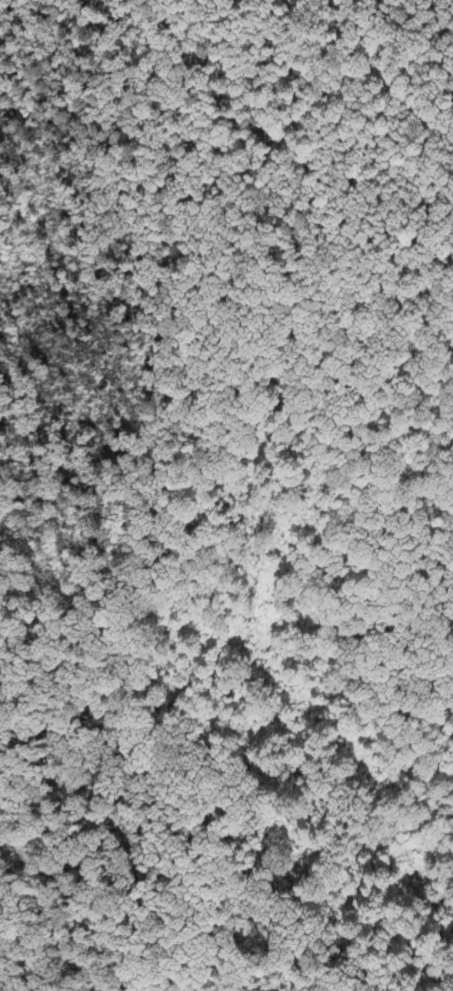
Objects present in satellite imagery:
road: (108, 819)

